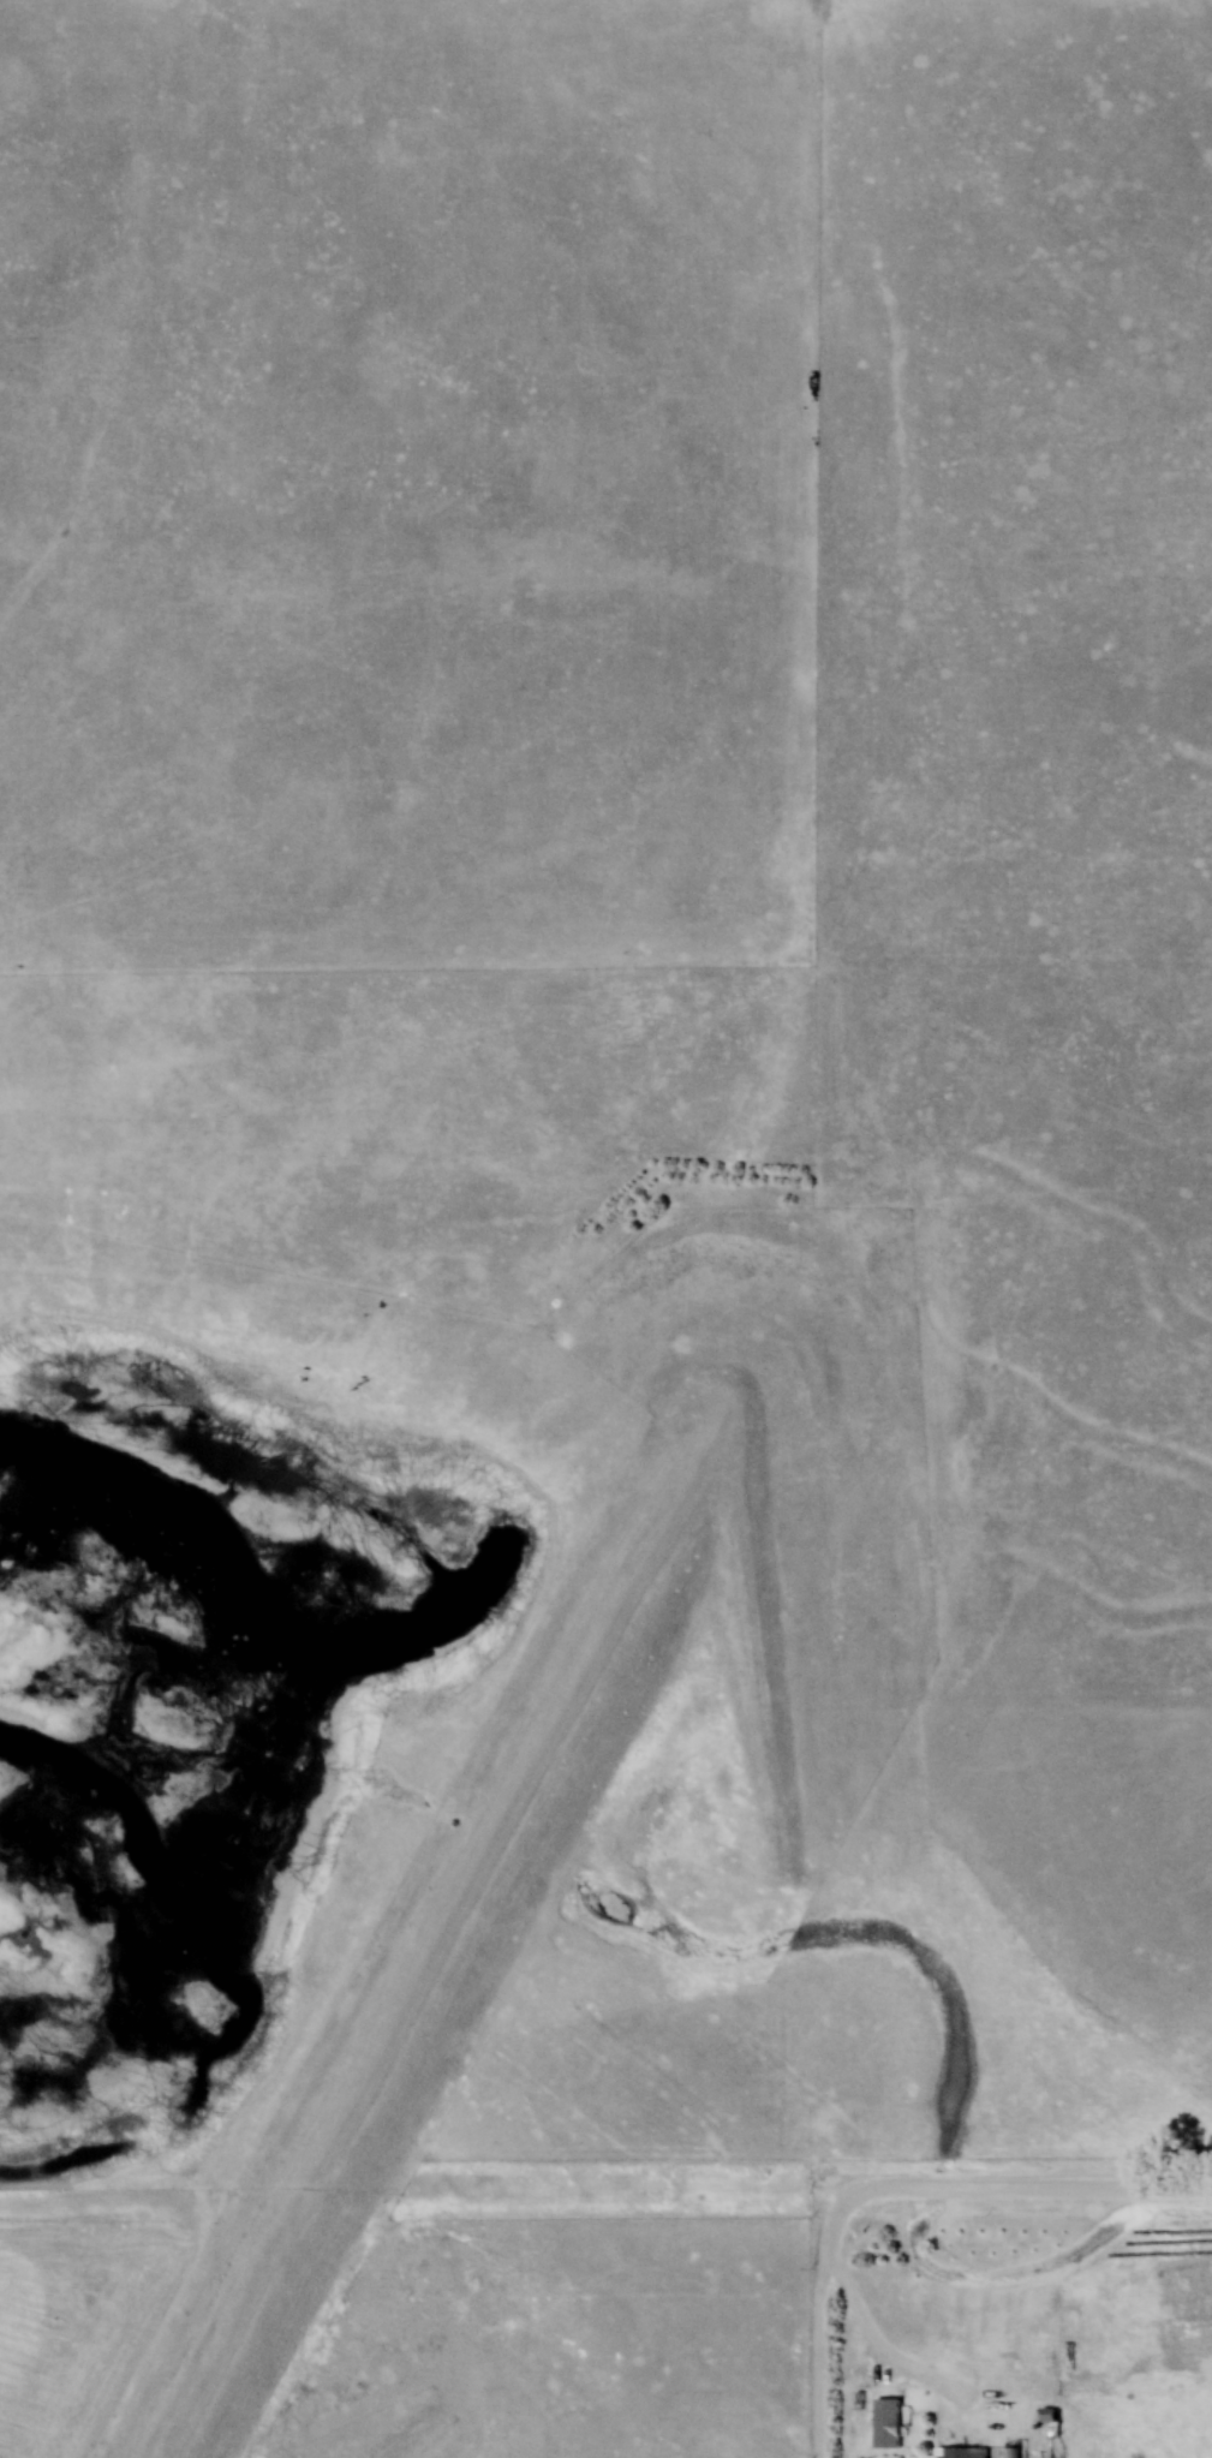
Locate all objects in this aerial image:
road: (997, 2191)
road: (872, 2349)
road: (813, 2355)
building: (888, 2424)
building: (962, 2452)

